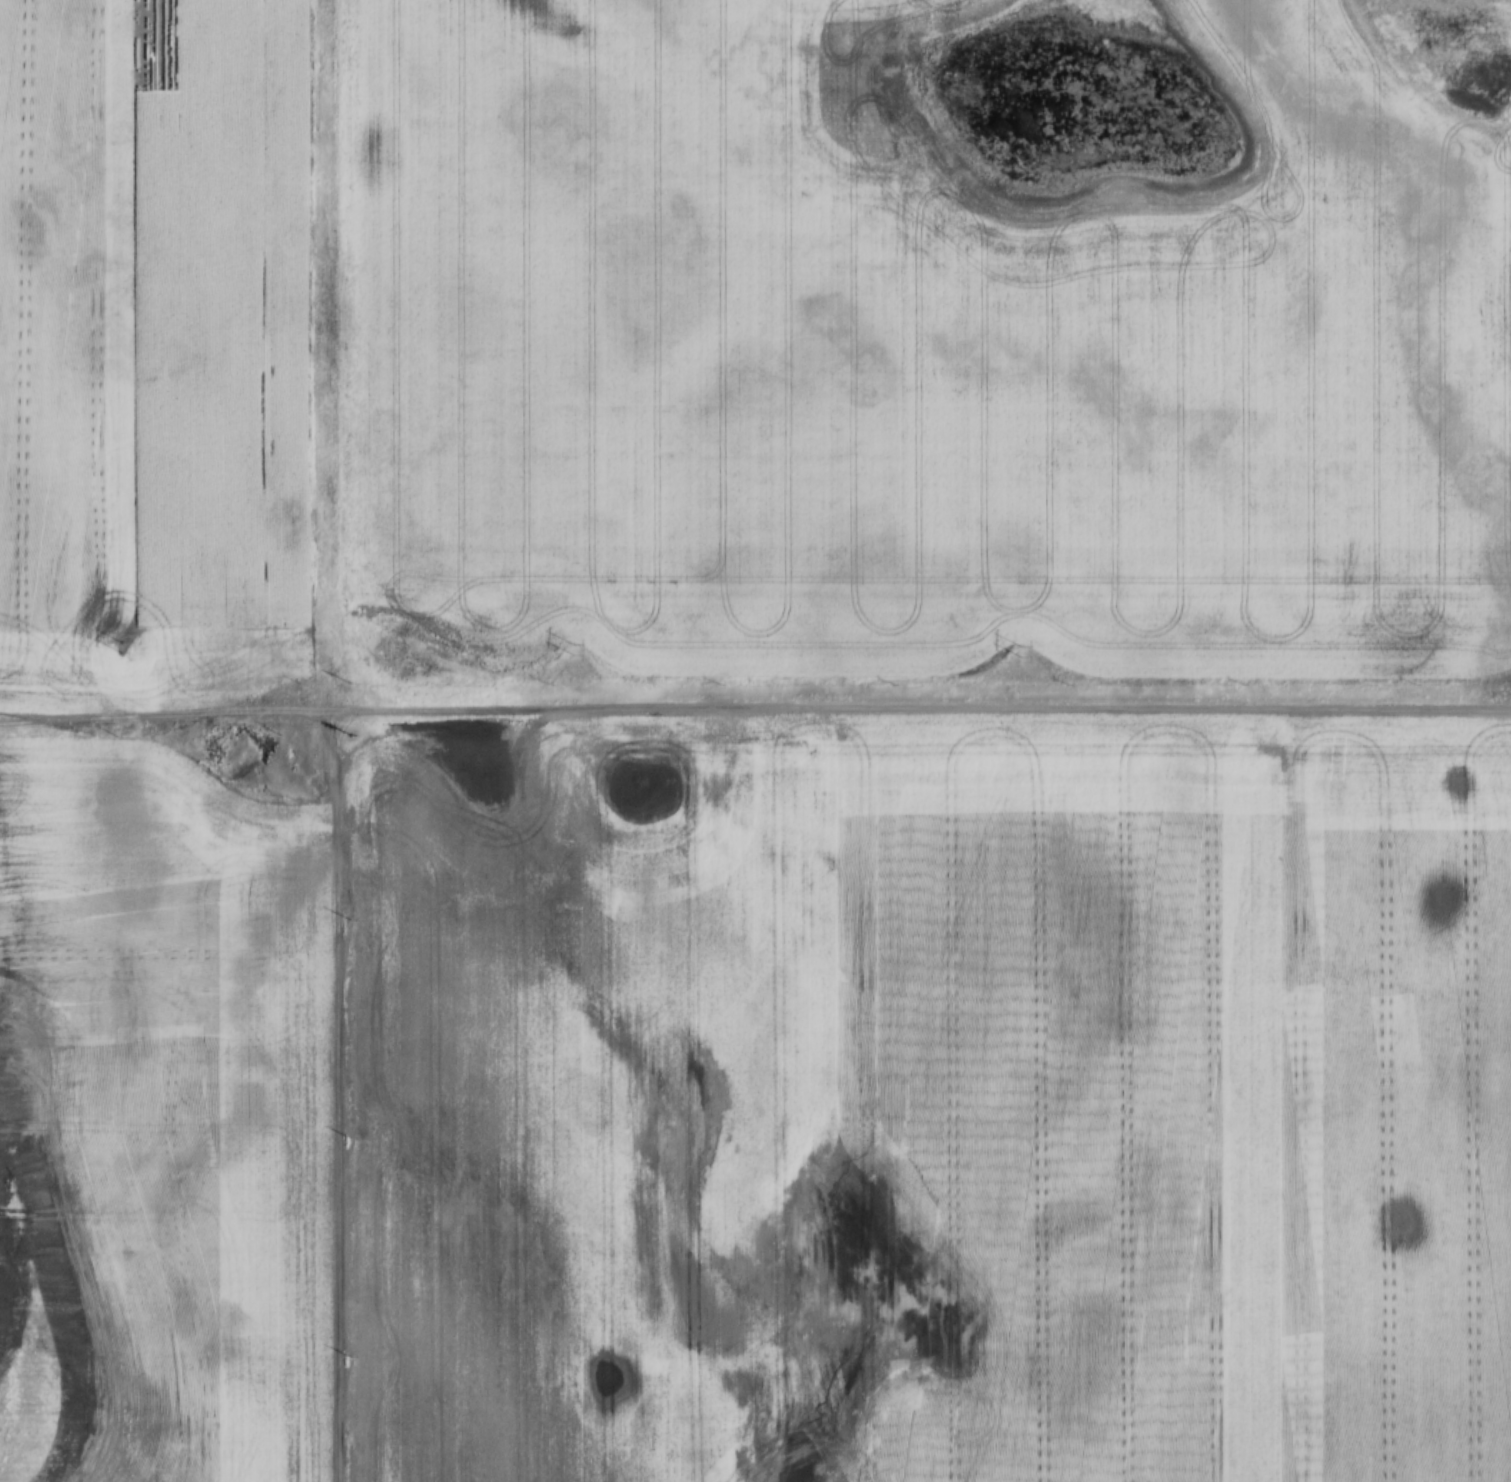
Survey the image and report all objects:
road: (755, 712)
road: (335, 1097)

